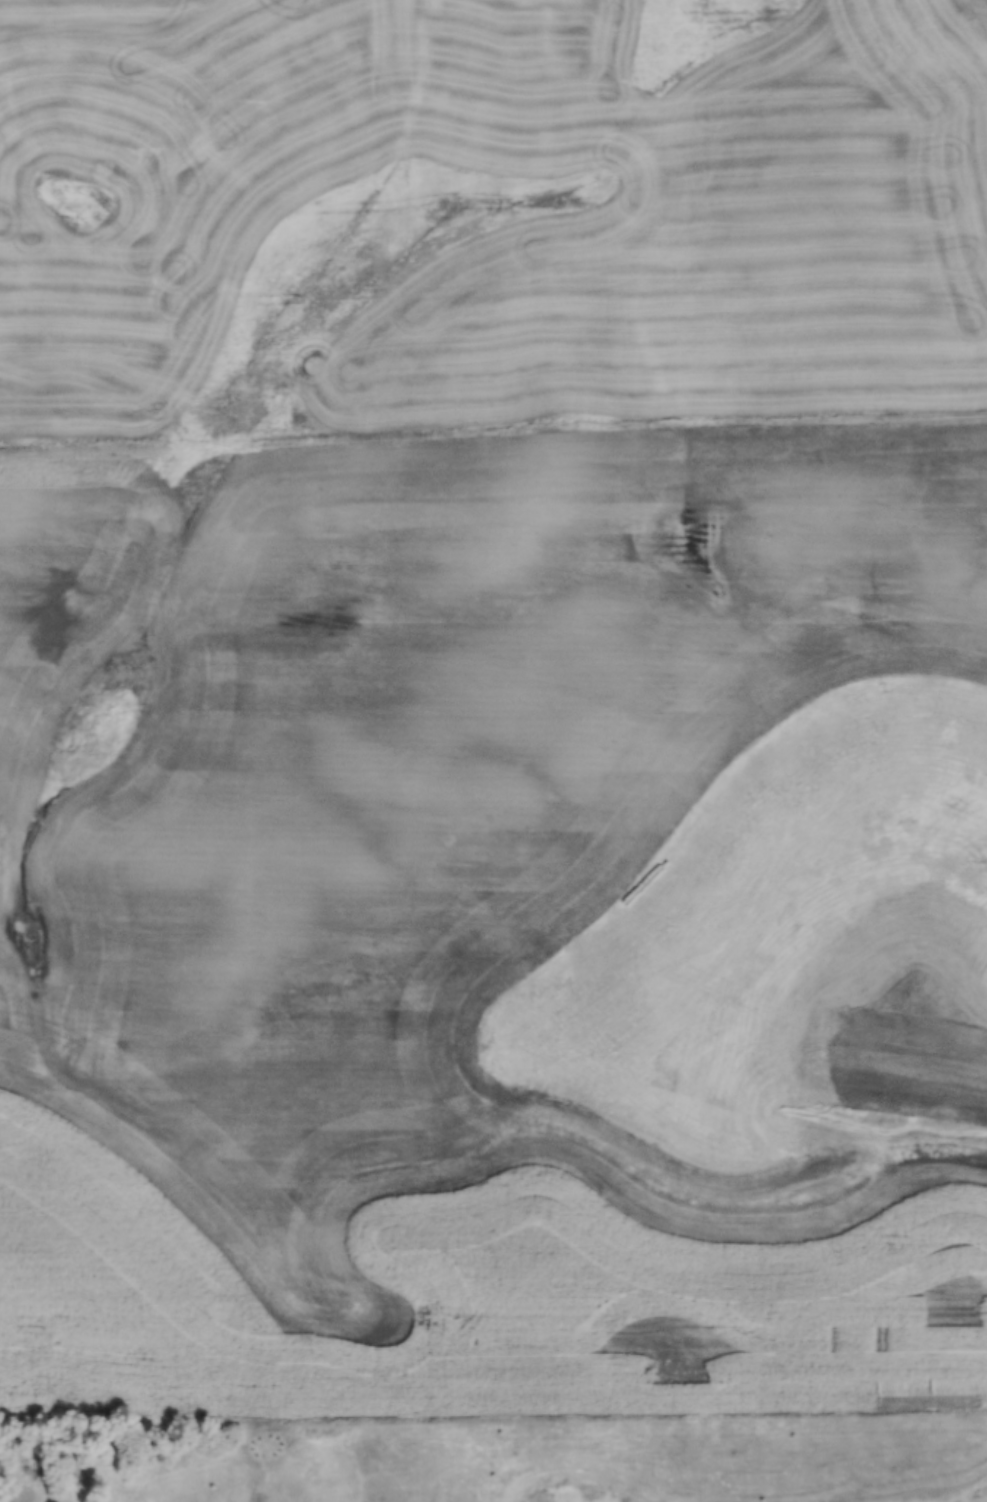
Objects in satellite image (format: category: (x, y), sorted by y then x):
road: (25, 1074)

